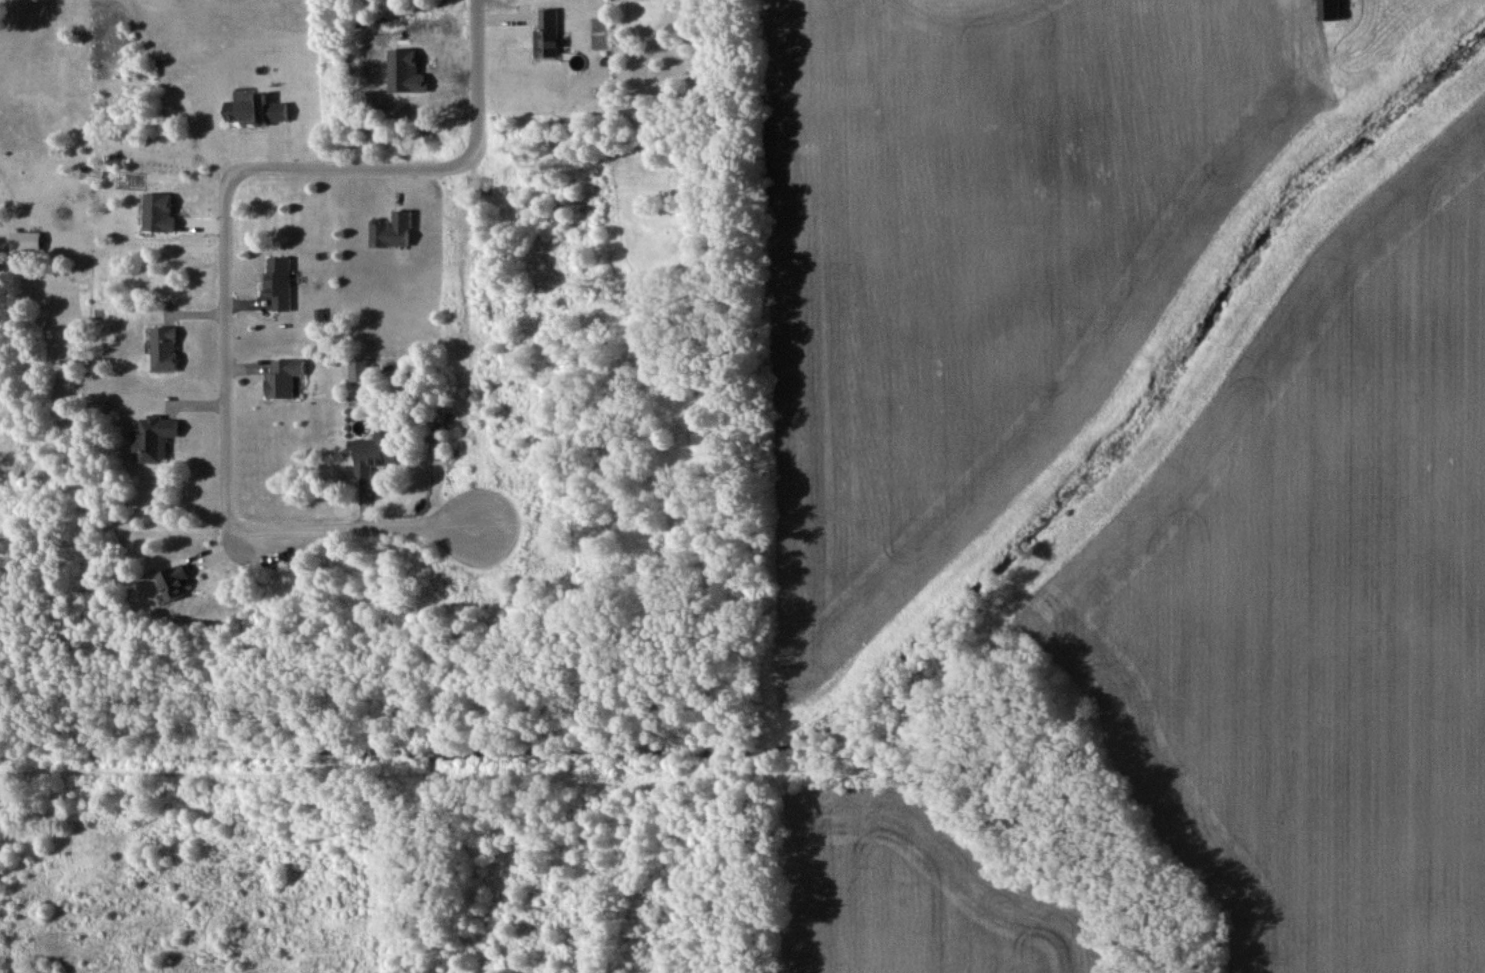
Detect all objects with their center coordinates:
building: (1331, 10)
building: (549, 33)
building: (257, 111)
building: (395, 230)
road: (224, 274)
building: (280, 282)
building: (165, 350)
building: (360, 370)
building: (285, 379)
building: (156, 438)
building: (374, 456)
building: (173, 583)

